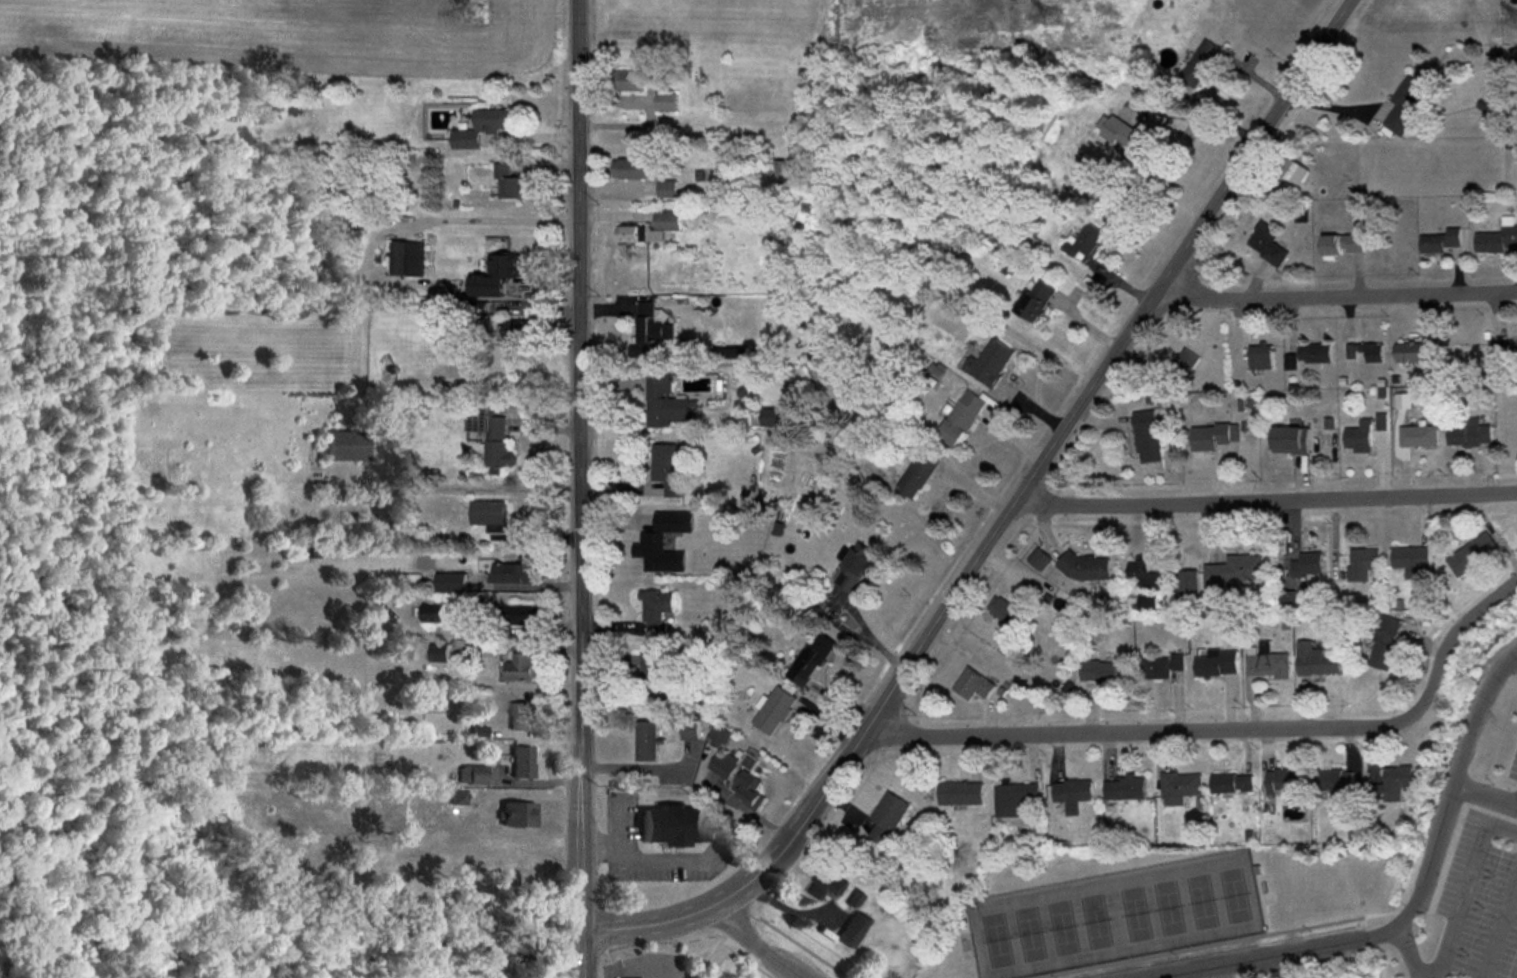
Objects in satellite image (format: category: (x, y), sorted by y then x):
power tower: (477, 13)
power tower: (1054, 17)
building: (1201, 64)
building: (628, 81)
building: (665, 102)
building: (1406, 105)
building: (295, 106)
building: (481, 127)
building: (1133, 136)
building: (631, 168)
building: (1295, 171)
building: (780, 173)
building: (505, 182)
building: (667, 188)
road: (428, 219)
building: (667, 220)
building: (633, 234)
building: (1442, 240)
building: (1084, 243)
building: (1343, 243)
building: (1267, 244)
building: (407, 259)
building: (496, 276)
road: (1335, 296)
building: (1035, 300)
building: (520, 331)
building: (650, 332)
building: (1418, 351)
building: (1365, 352)
building: (1504, 353)
building: (1309, 355)
building: (1261, 357)
building: (989, 362)
building: (1185, 364)
building: (666, 404)
building: (772, 418)
building: (961, 418)
building: (1509, 433)
building: (1469, 434)
building: (488, 435)
building: (1418, 436)
building: (1147, 437)
building: (1213, 437)
building: (1358, 438)
building: (1290, 440)
building: (344, 446)
building: (666, 465)
building: (917, 475)
road: (580, 489)
road: (1266, 499)
building: (487, 513)
road: (1004, 518)
building: (1473, 553)
building: (1411, 558)
building: (1041, 561)
building: (1363, 563)
building: (1307, 565)
building: (1086, 568)
building: (854, 569)
building: (1233, 571)
building: (512, 573)
building: (1145, 576)
building: (449, 583)
building: (655, 609)
building: (1005, 612)
building: (430, 613)
building: (519, 615)
road: (1450, 640)
building: (1384, 644)
building: (436, 653)
road: (1514, 658)
building: (811, 660)
building: (1315, 660)
building: (1215, 663)
building: (1267, 665)
building: (1160, 666)
building: (520, 668)
building: (1104, 673)
building: (652, 675)
building: (973, 685)
building: (774, 710)
building: (520, 716)
road: (1139, 730)
building: (646, 741)
building: (521, 763)
building: (723, 765)
building: (1284, 781)
building: (1336, 782)
building: (1231, 783)
building: (1393, 784)
building: (1179, 788)
building: (1124, 789)
building: (749, 790)
building: (960, 793)
building: (1072, 795)
road: (1485, 798)
building: (1013, 799)
building: (518, 816)
building: (887, 818)
building: (671, 826)
road: (1500, 826)
building: (826, 885)
road: (1459, 899)
road: (1414, 902)
road: (1499, 927)
building: (853, 930)
road: (760, 944)
road: (1402, 954)

